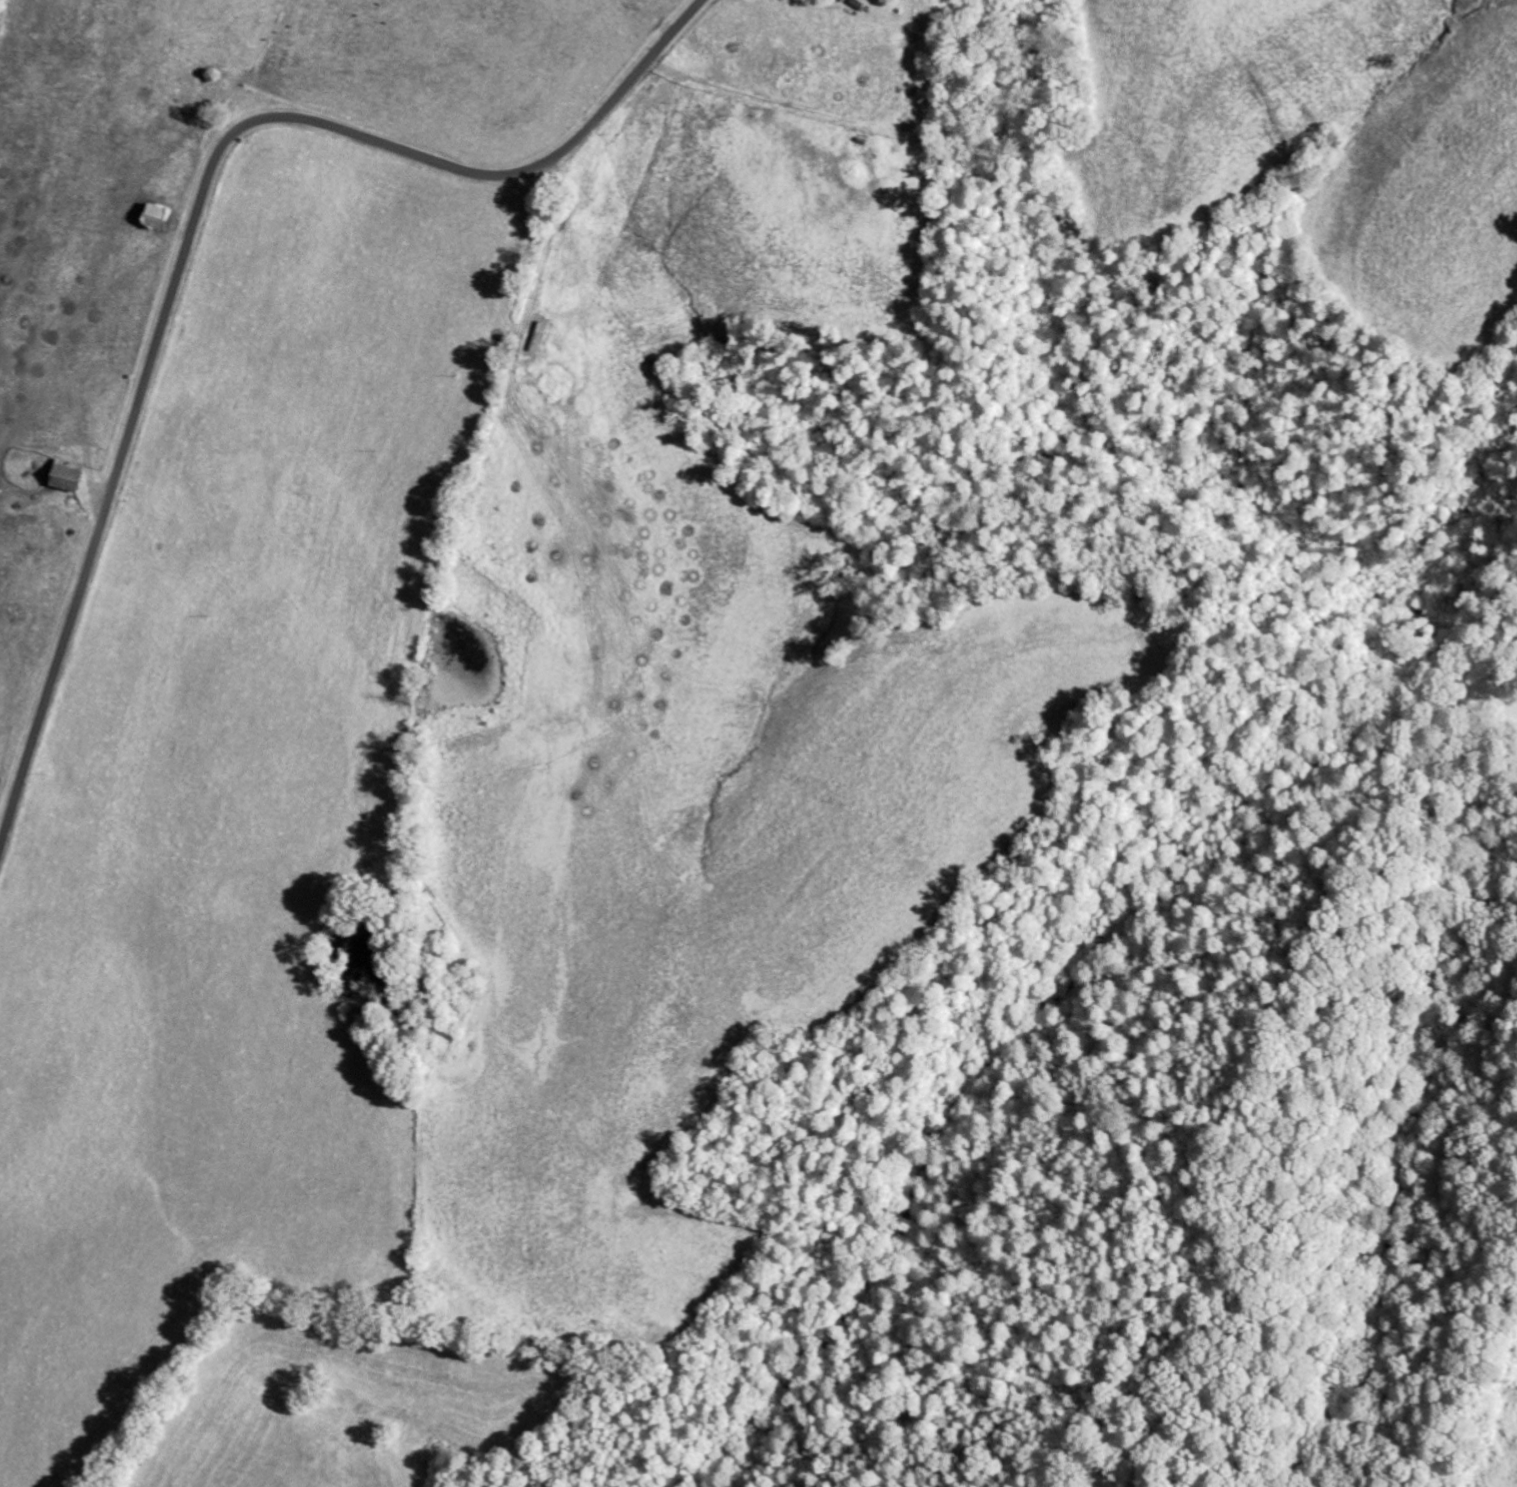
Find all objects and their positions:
road: (193, 224)

